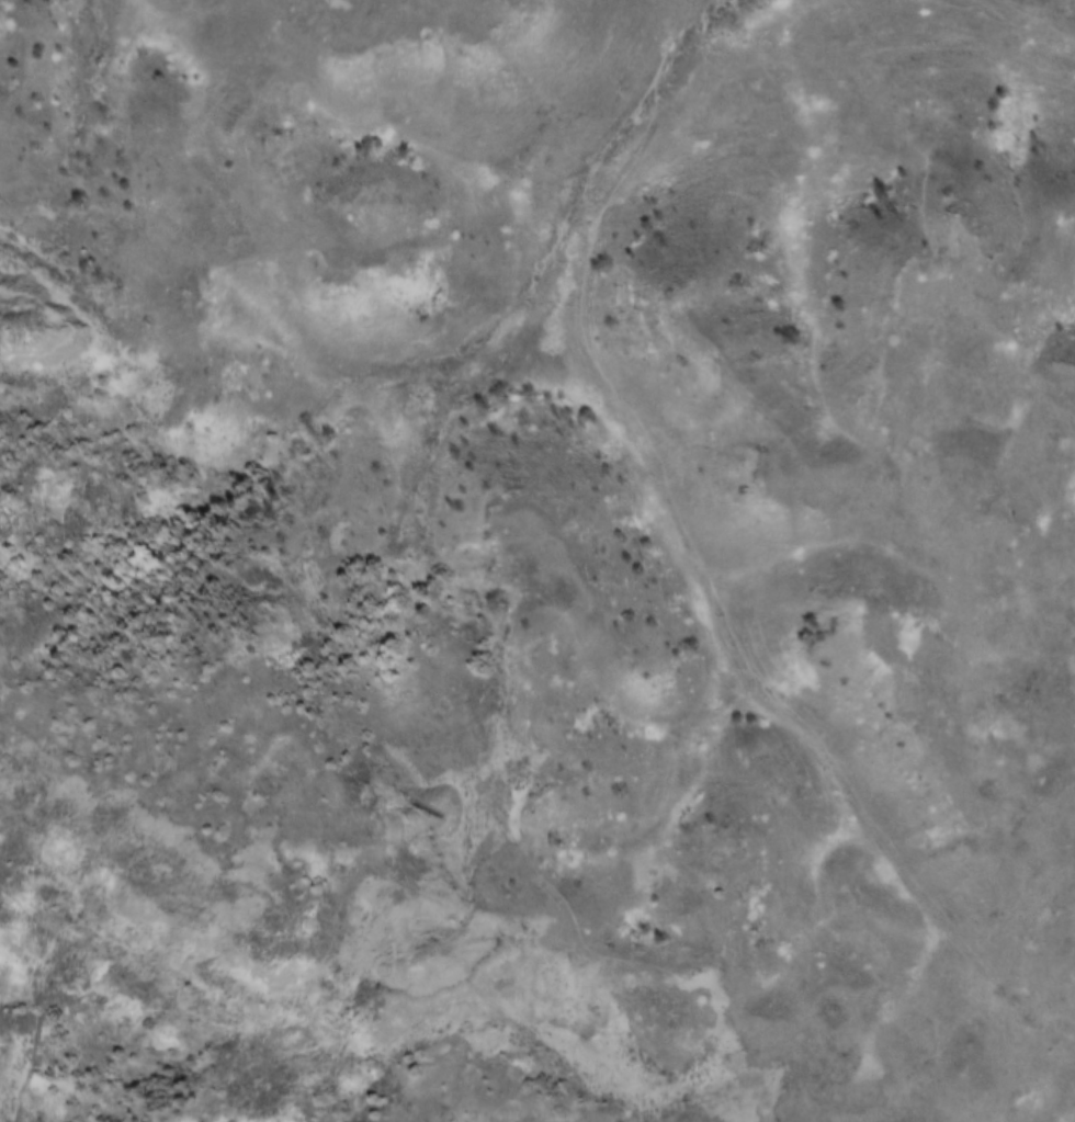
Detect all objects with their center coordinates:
road: (725, 554)

